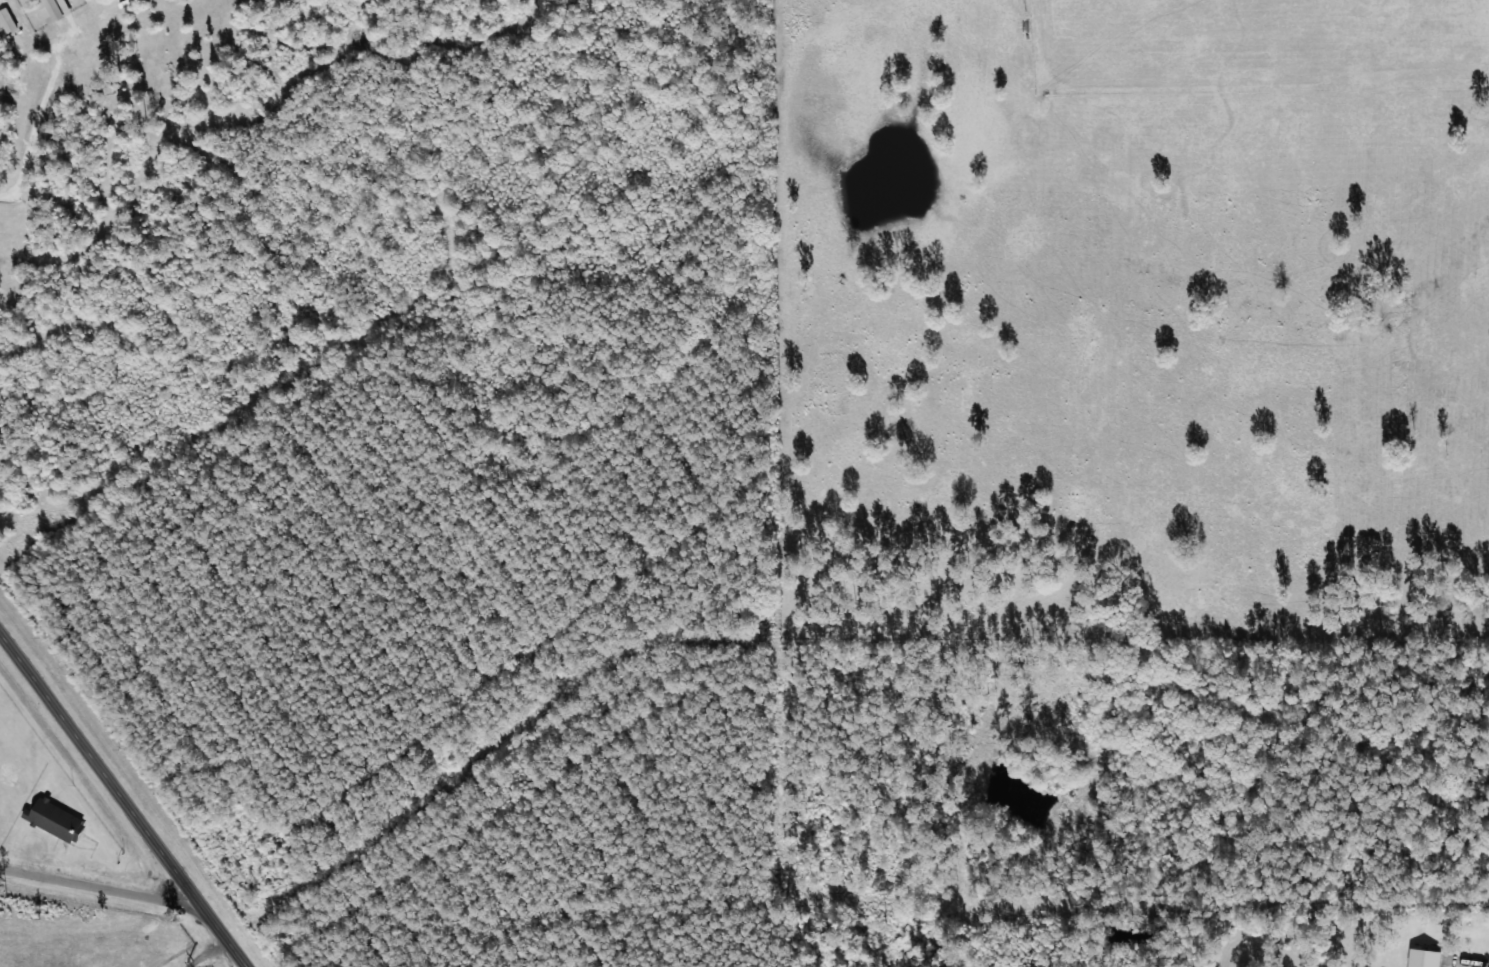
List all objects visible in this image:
building: (52, 9)
road: (121, 802)
building: (54, 818)
road: (101, 884)
building: (1422, 958)

